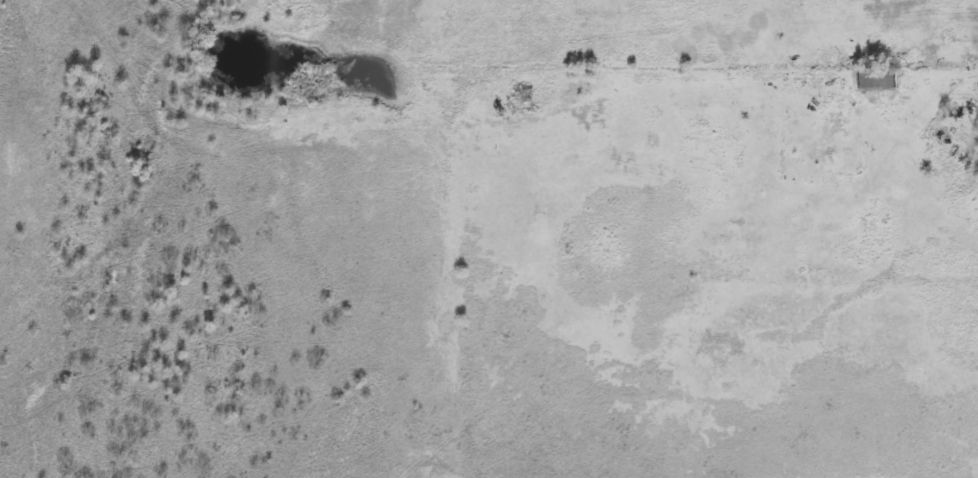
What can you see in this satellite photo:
building: (877, 79)
road: (955, 79)
building: (522, 95)

